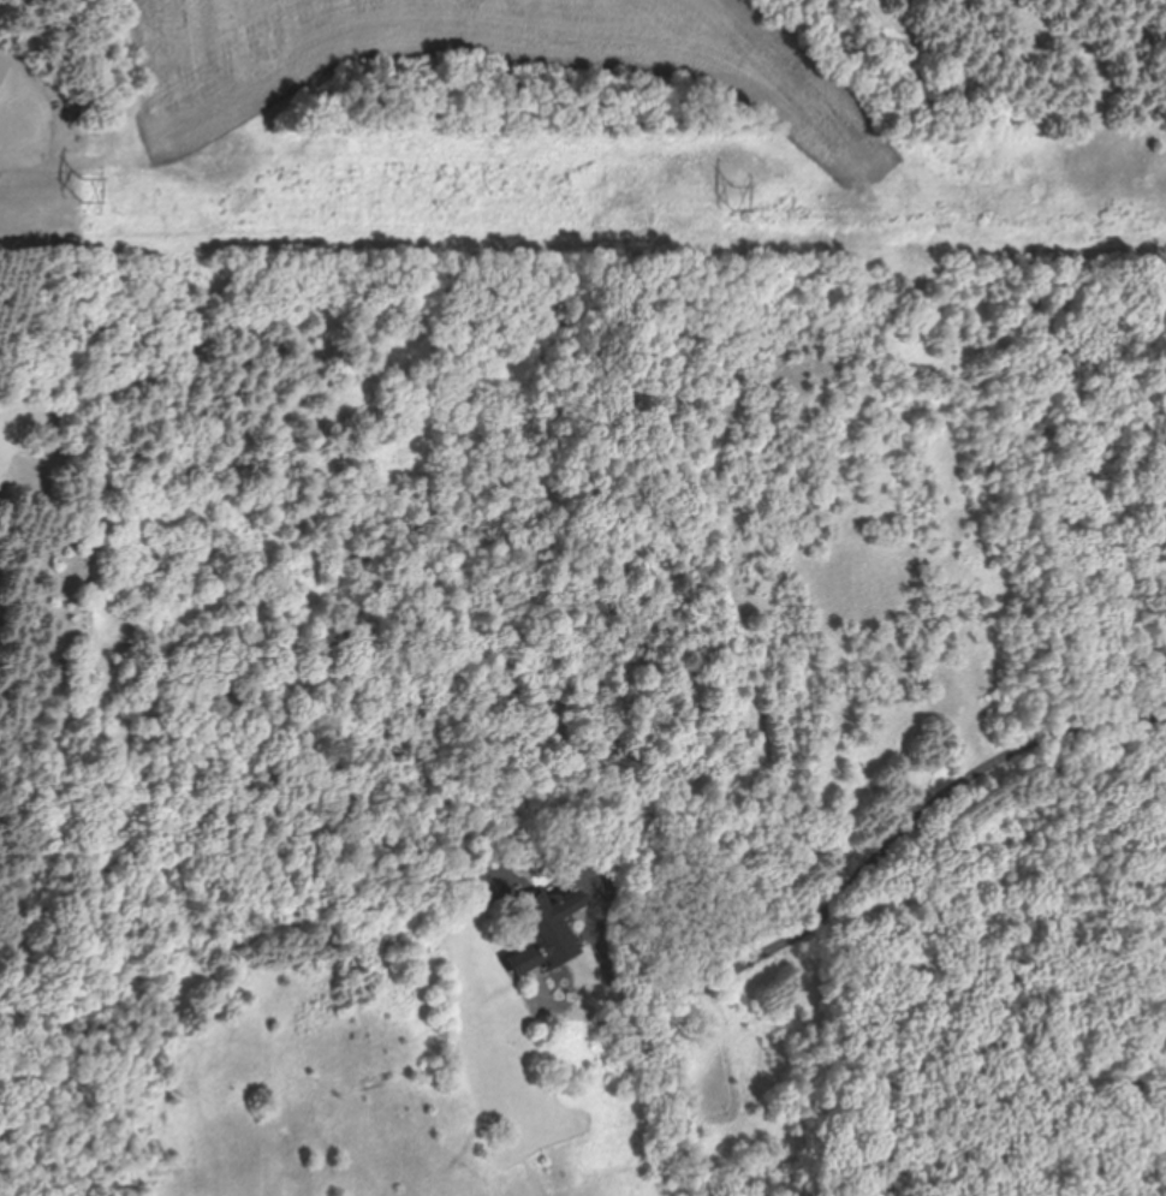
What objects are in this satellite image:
building: (4, 63)
power tower: (89, 197)
power tower: (737, 208)
road: (900, 828)
building: (545, 928)
road: (605, 957)

